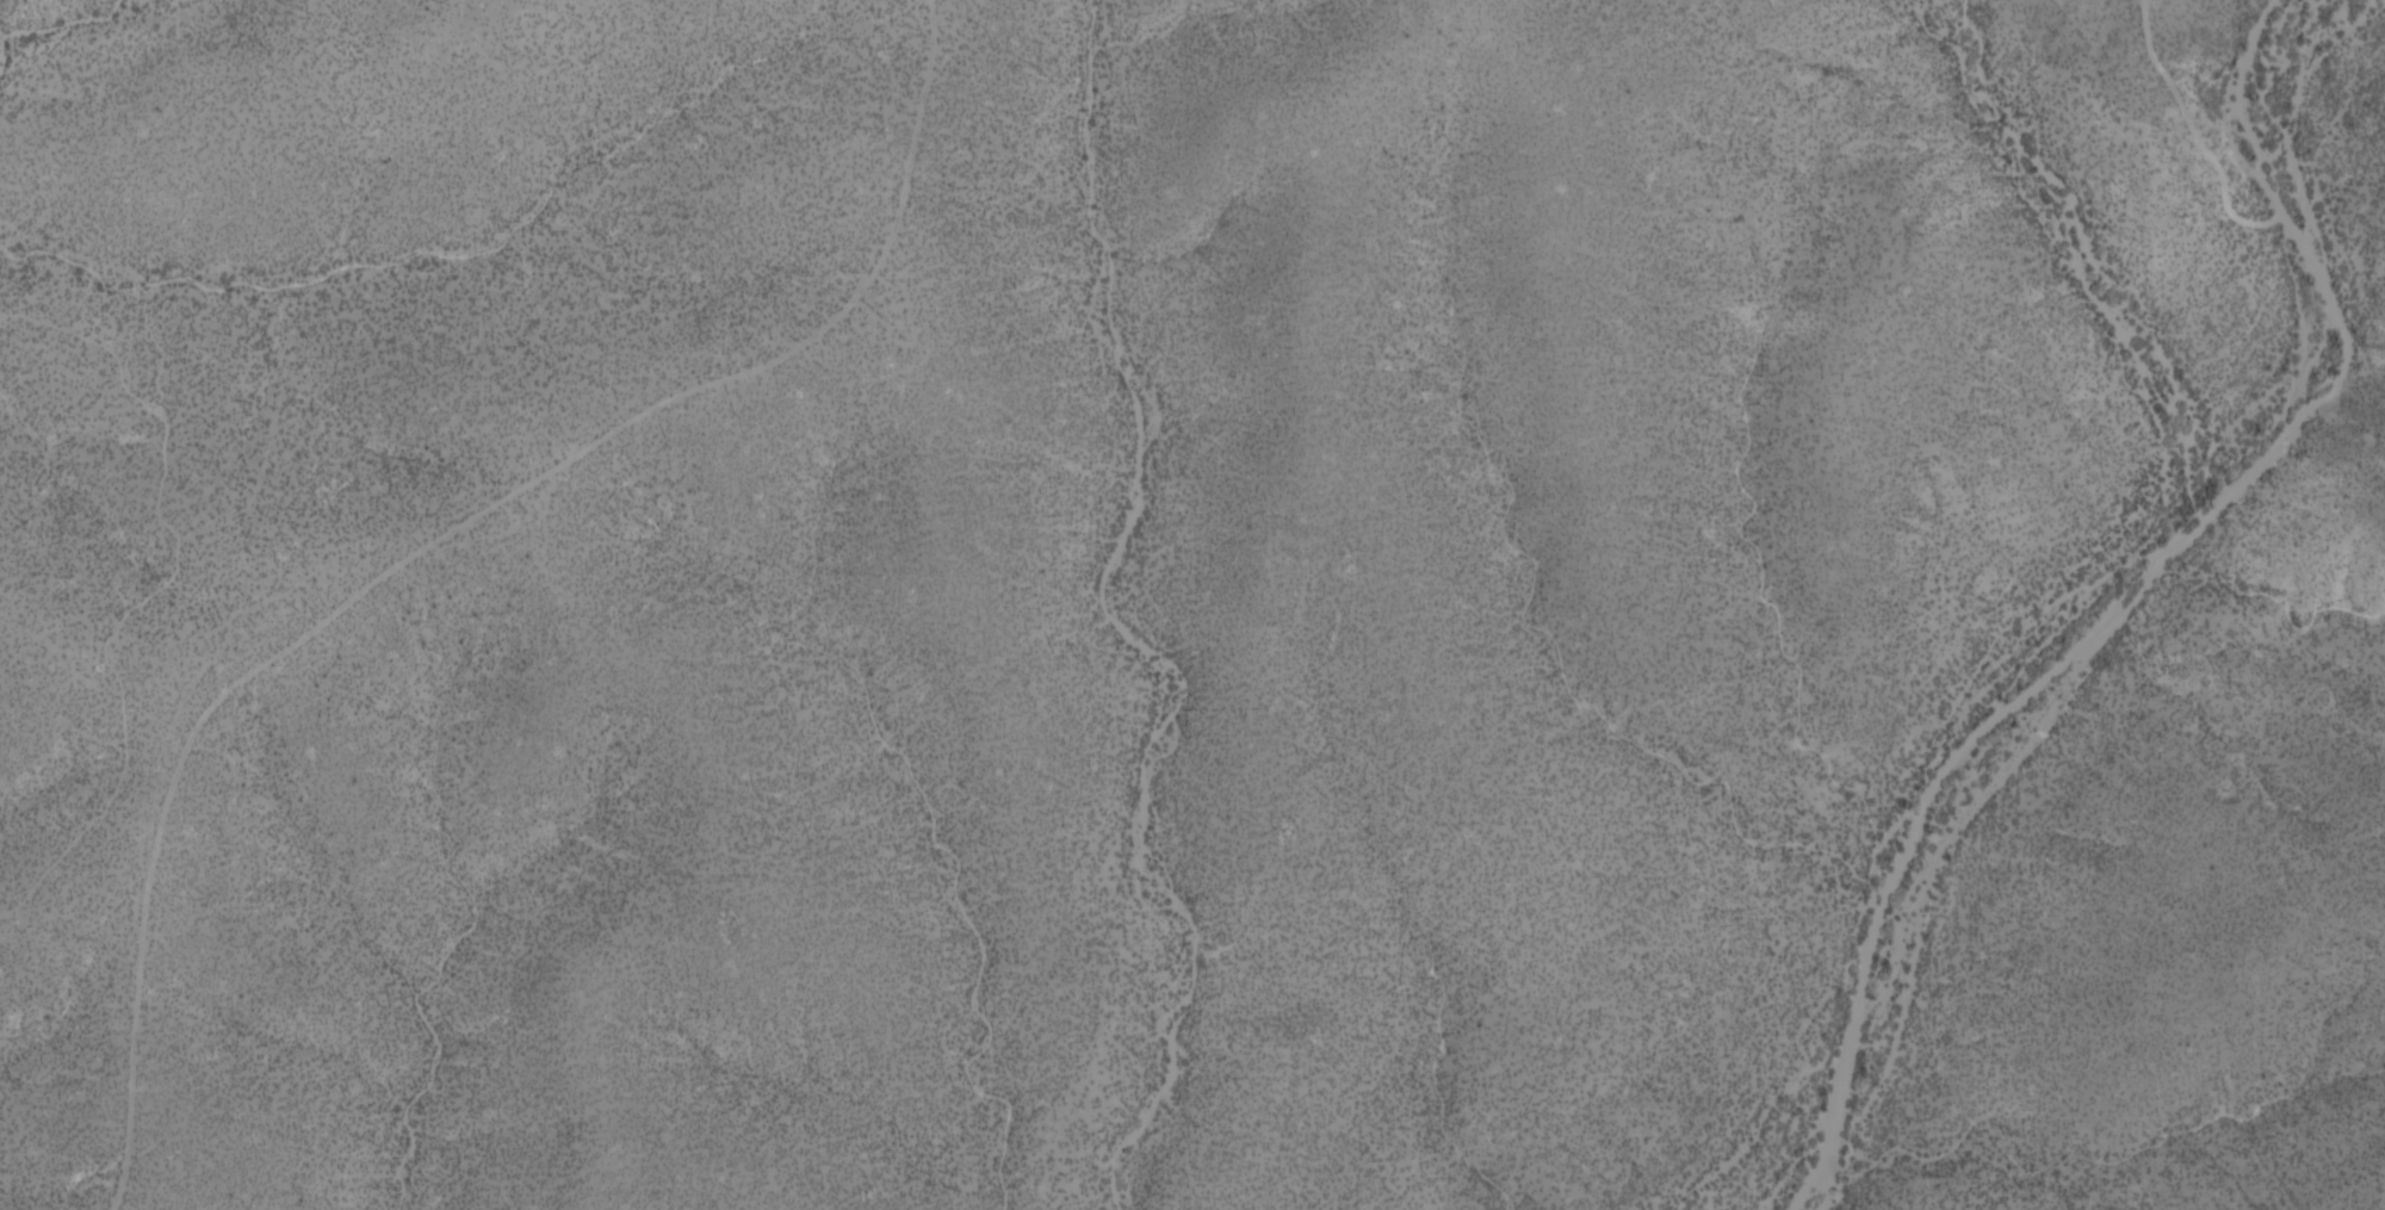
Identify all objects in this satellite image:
road: (160, 581)

